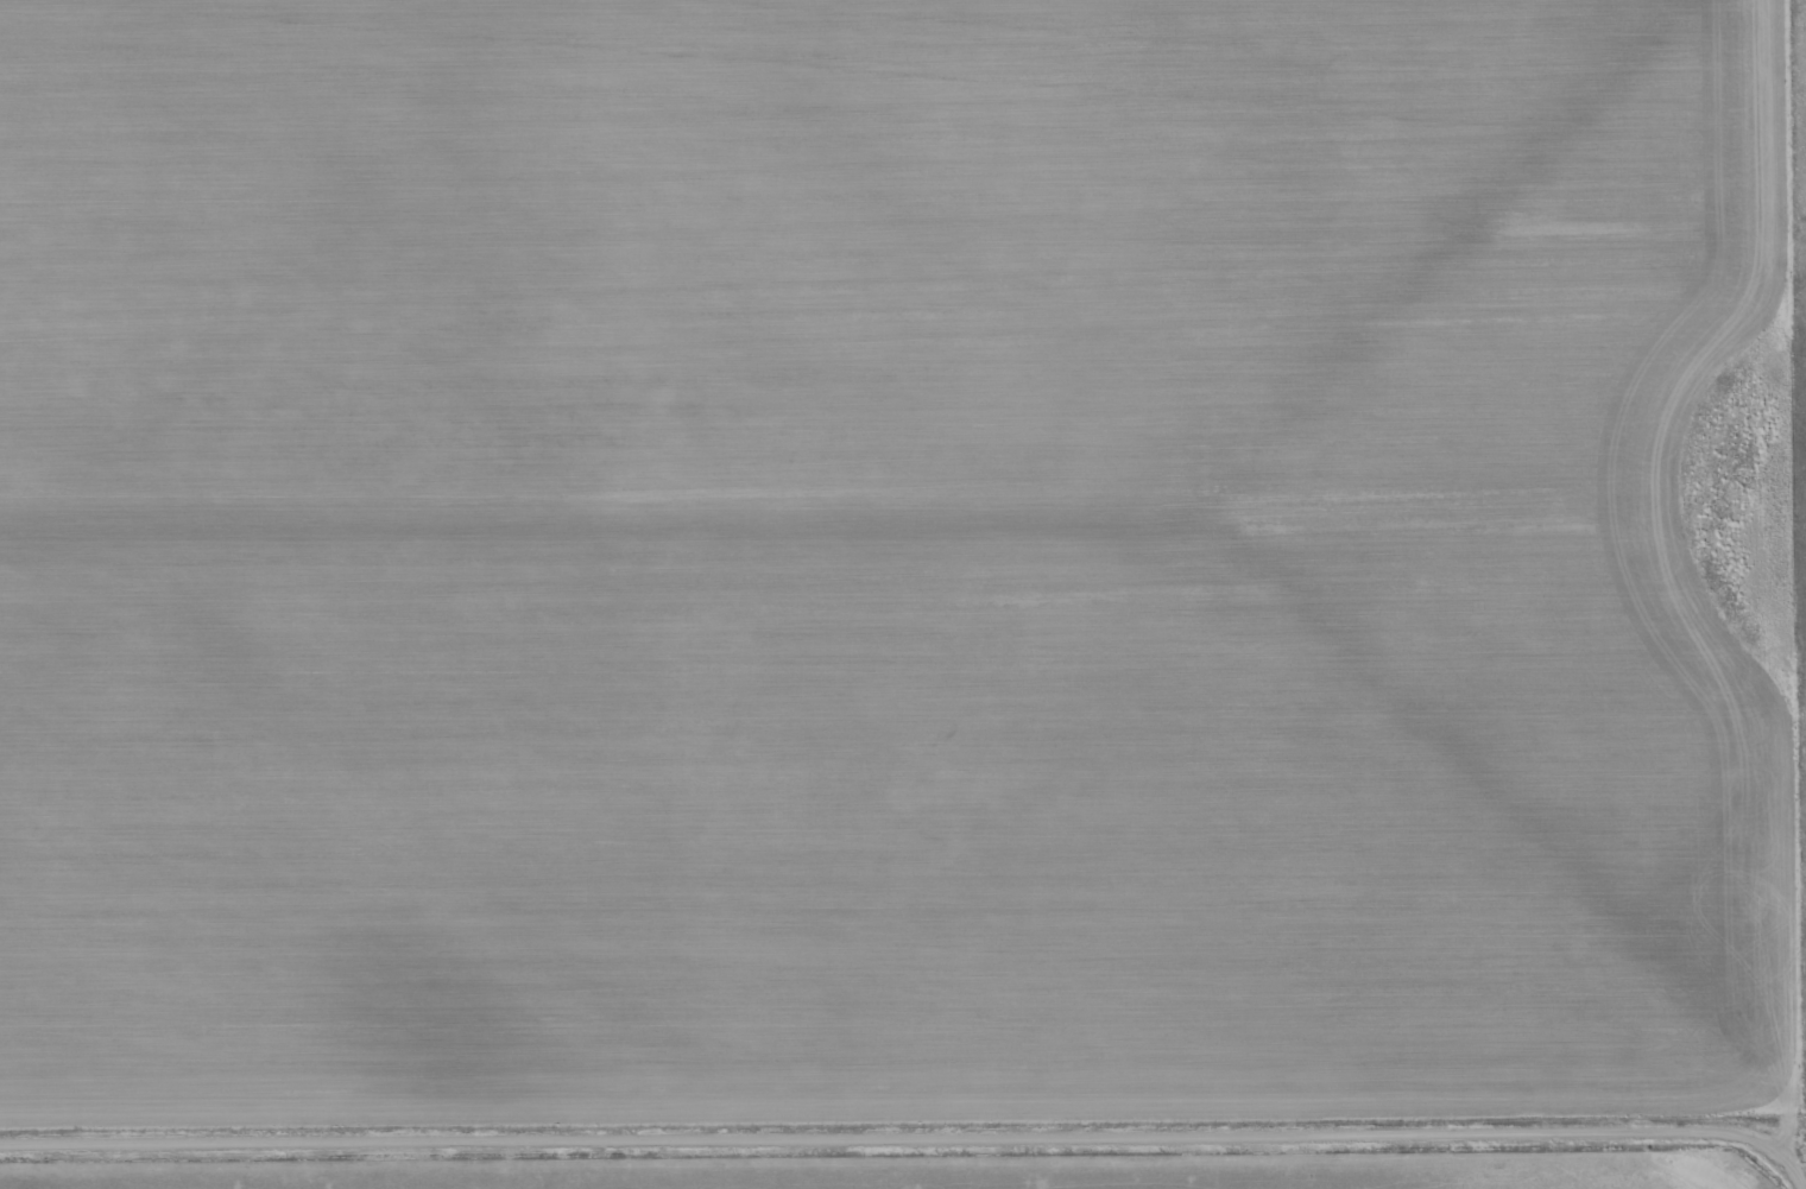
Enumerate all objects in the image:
road: (1783, 575)
road: (913, 1138)

